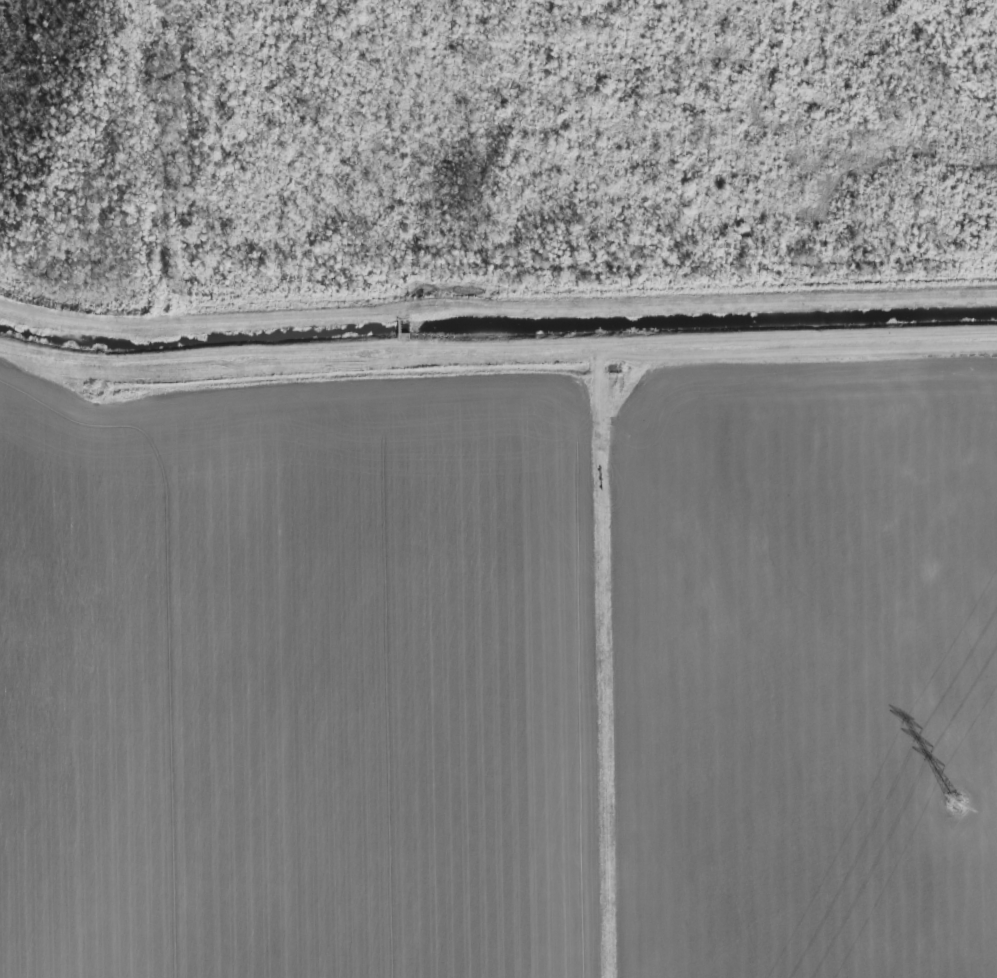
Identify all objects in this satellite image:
road: (497, 314)
road: (497, 360)
road: (606, 667)
power tower: (958, 804)

